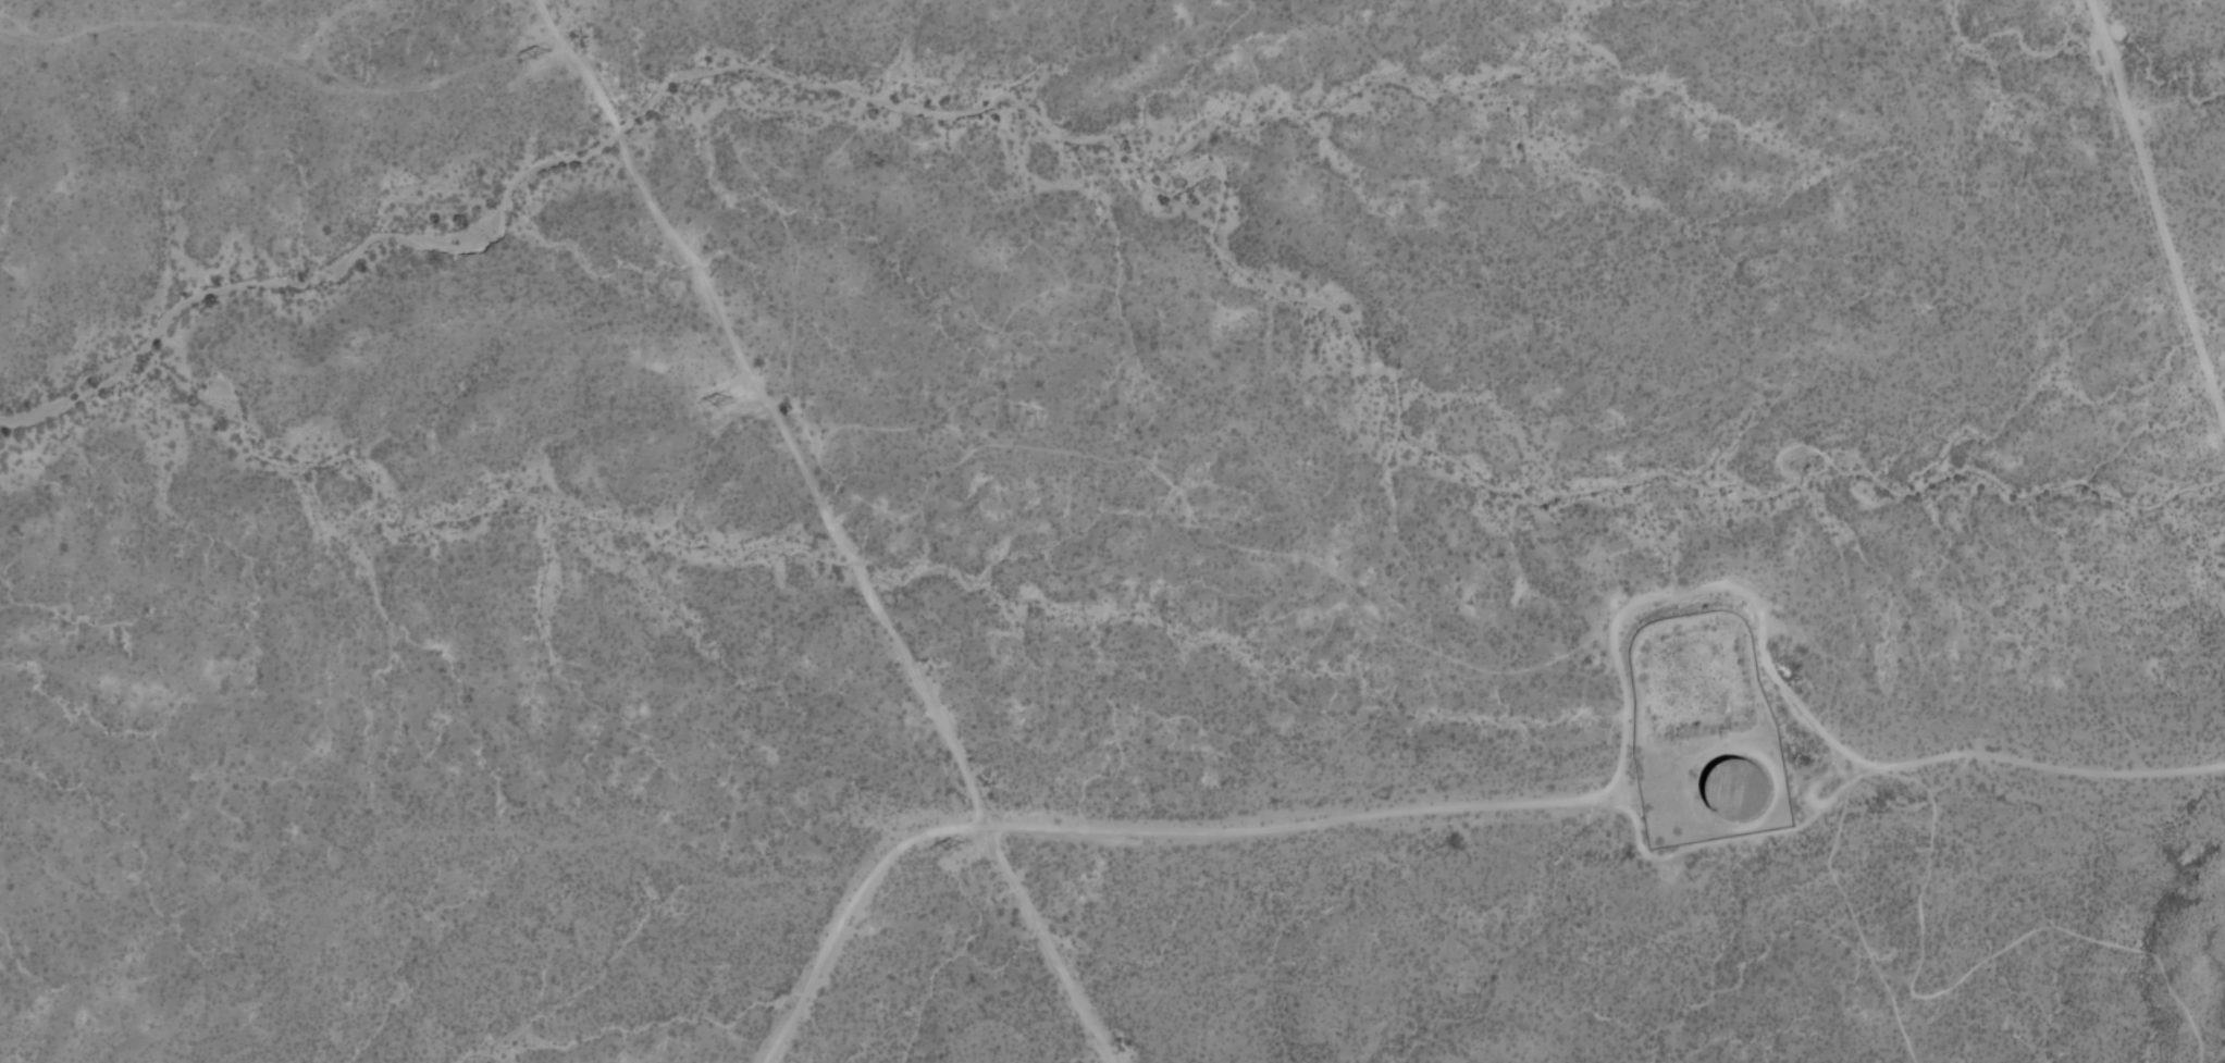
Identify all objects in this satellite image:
power tower: (542, 53)
road: (2158, 214)
power tower: (724, 400)
road: (768, 405)
road: (1791, 707)
water tower: (1739, 786)
building: (1745, 789)
road: (1618, 796)
road: (1293, 824)
road: (1736, 840)
power tower: (956, 842)
road: (845, 913)
road: (1043, 943)
road: (1961, 976)

